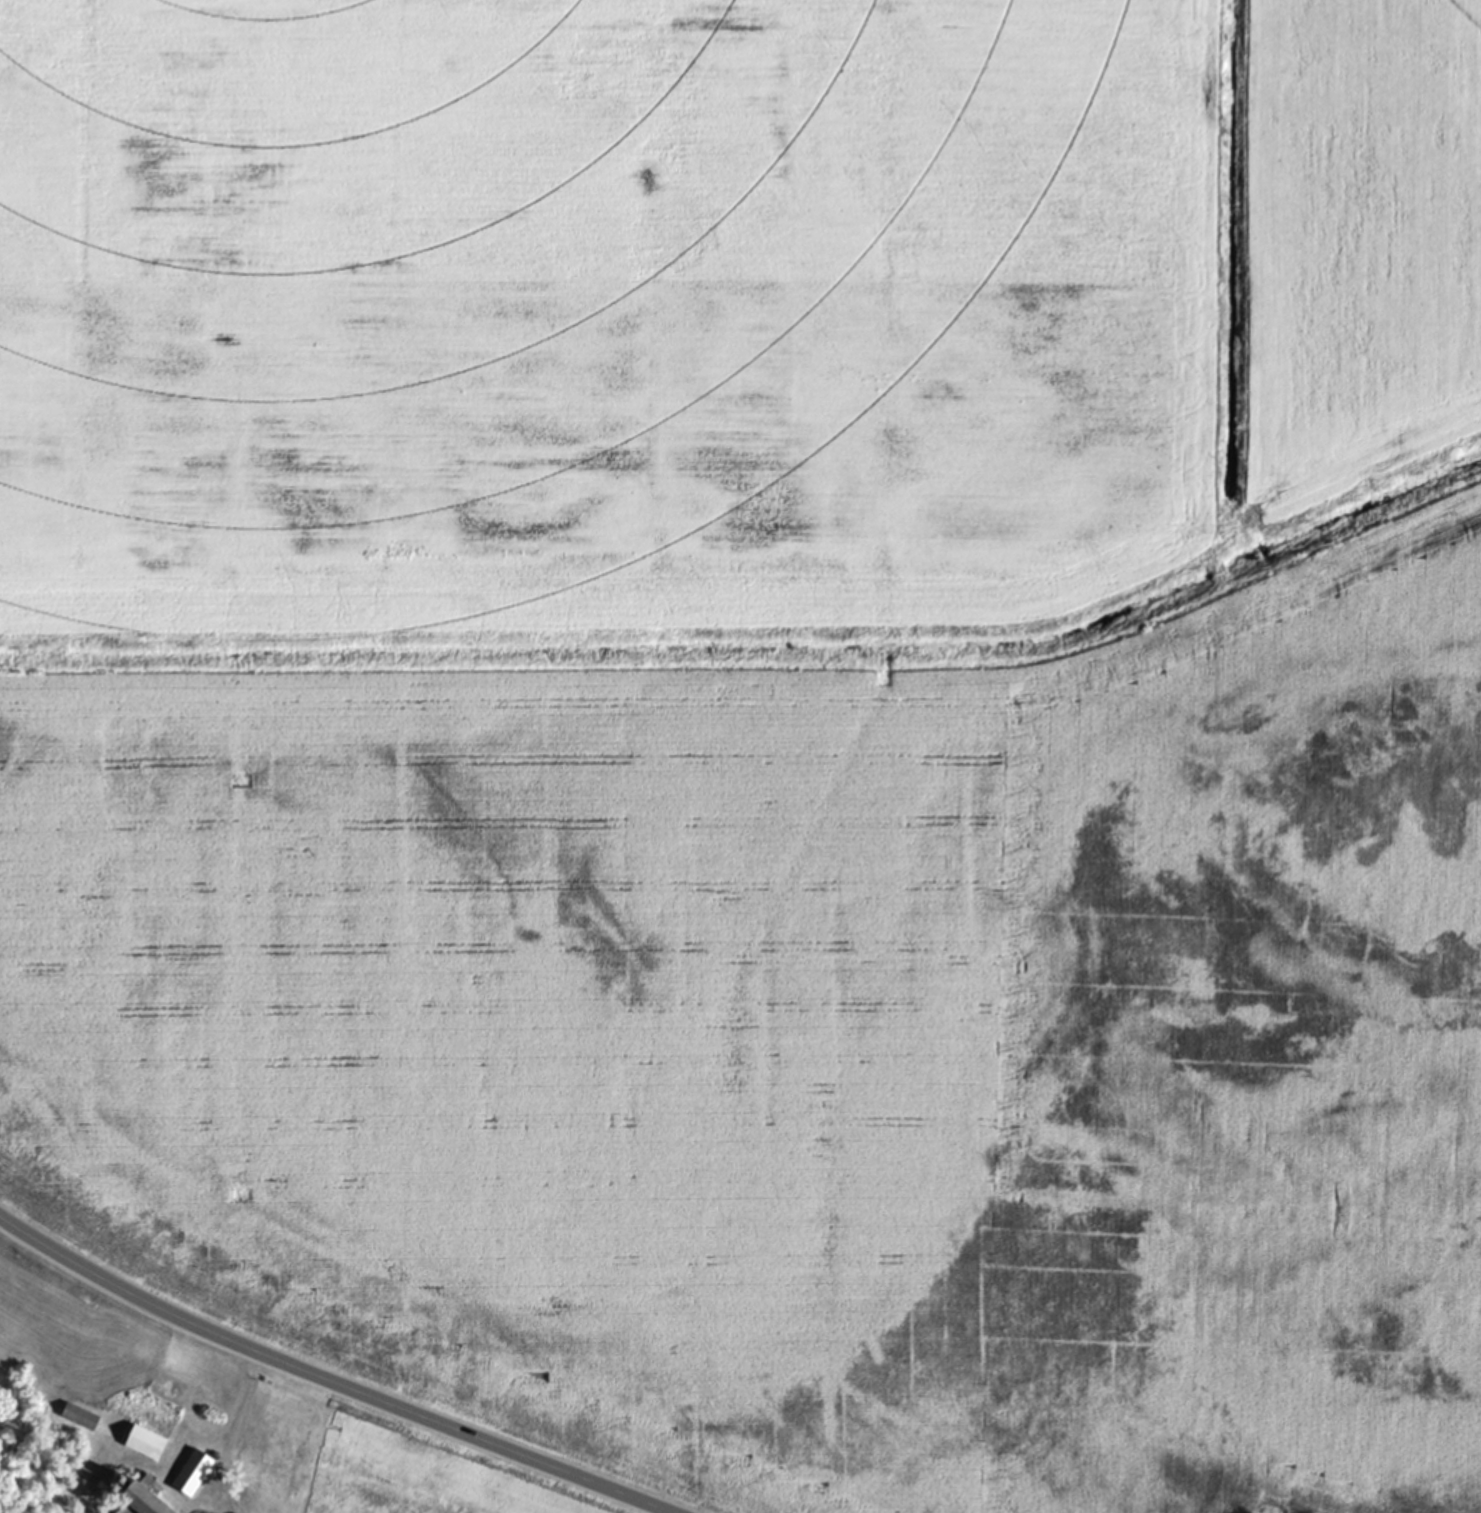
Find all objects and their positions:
road: (334, 1375)
building: (77, 1416)
building: (144, 1443)
building: (191, 1472)
building: (139, 1501)

